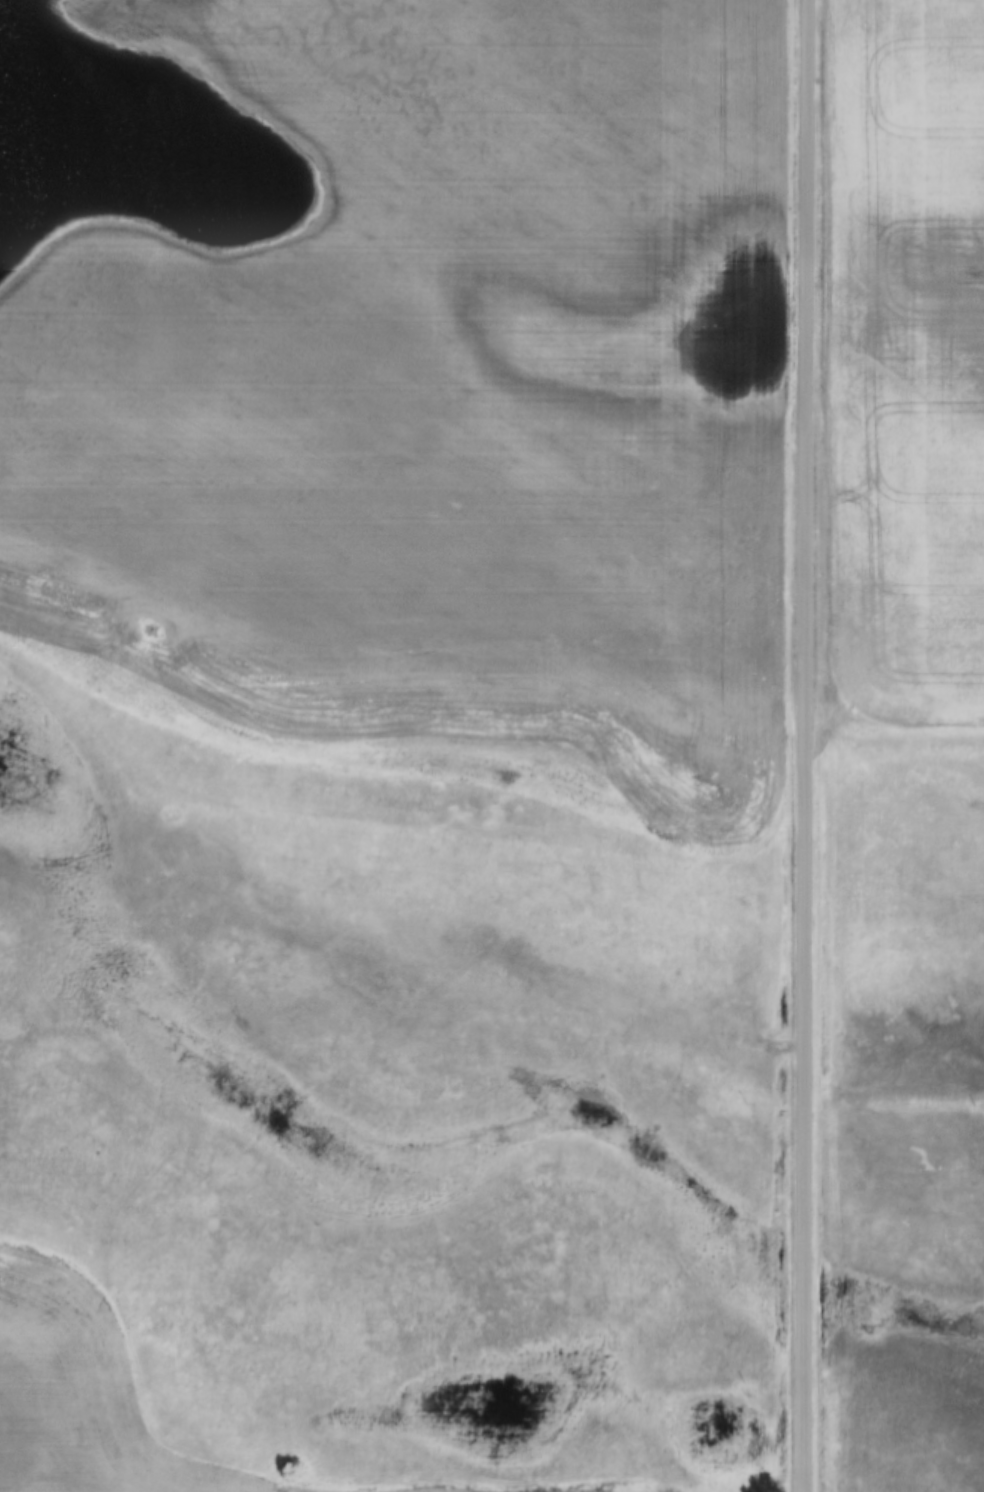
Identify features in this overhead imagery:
road: (805, 746)

